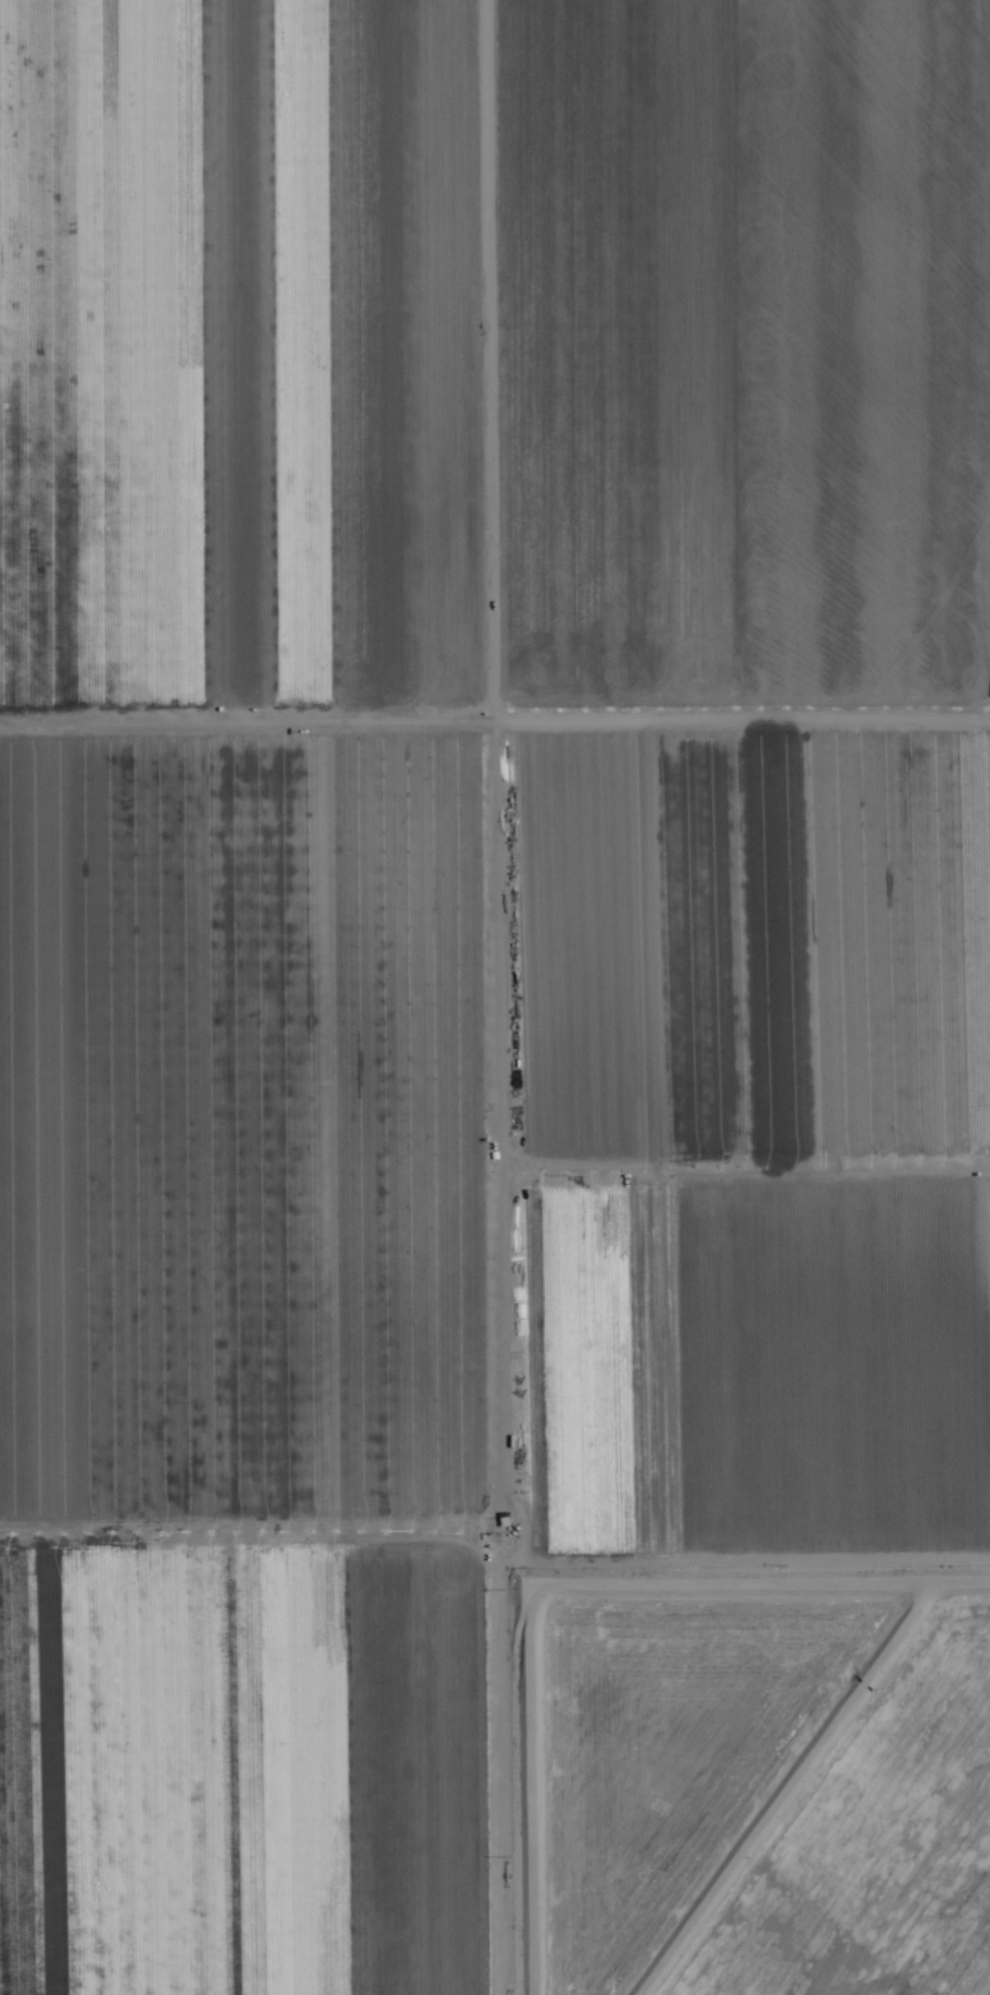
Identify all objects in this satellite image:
road: (495, 709)
crop: (464, 912)

